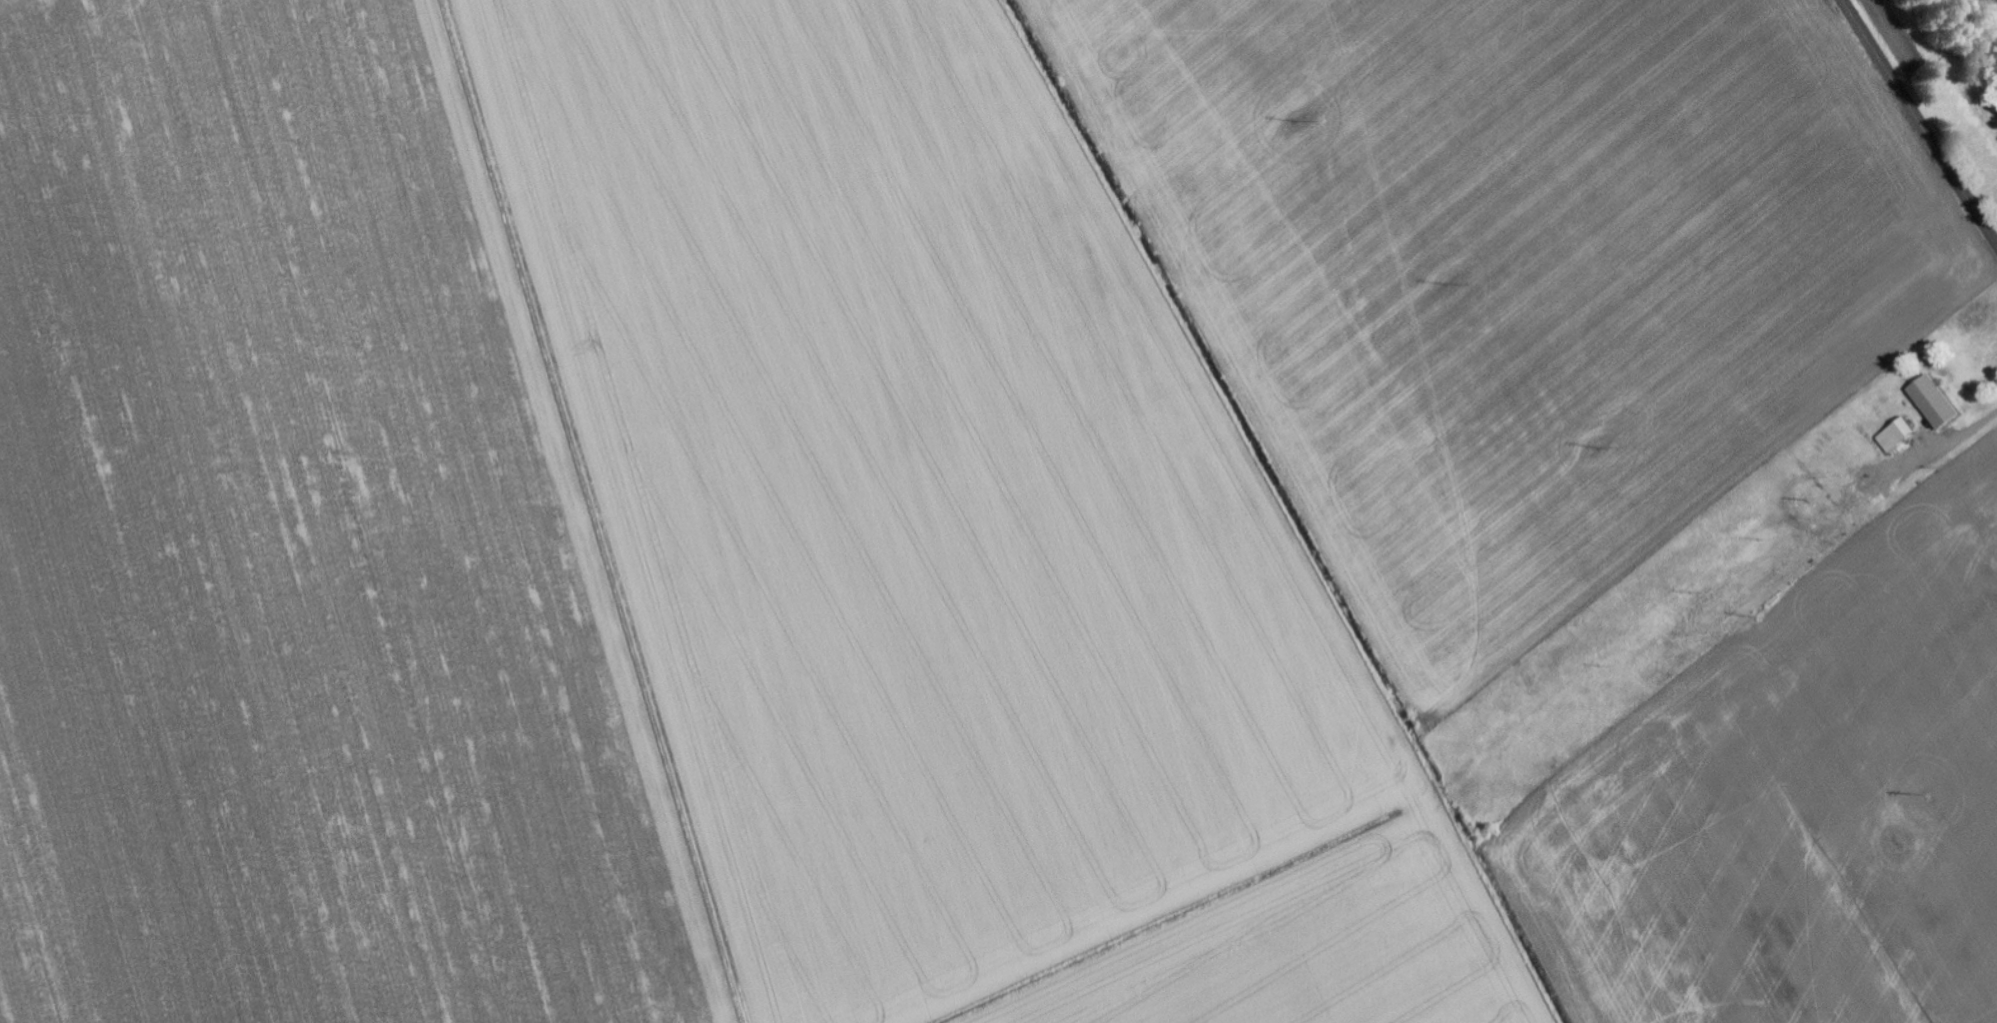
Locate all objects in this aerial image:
road: (1919, 122)
building: (1938, 402)
building: (1900, 435)

